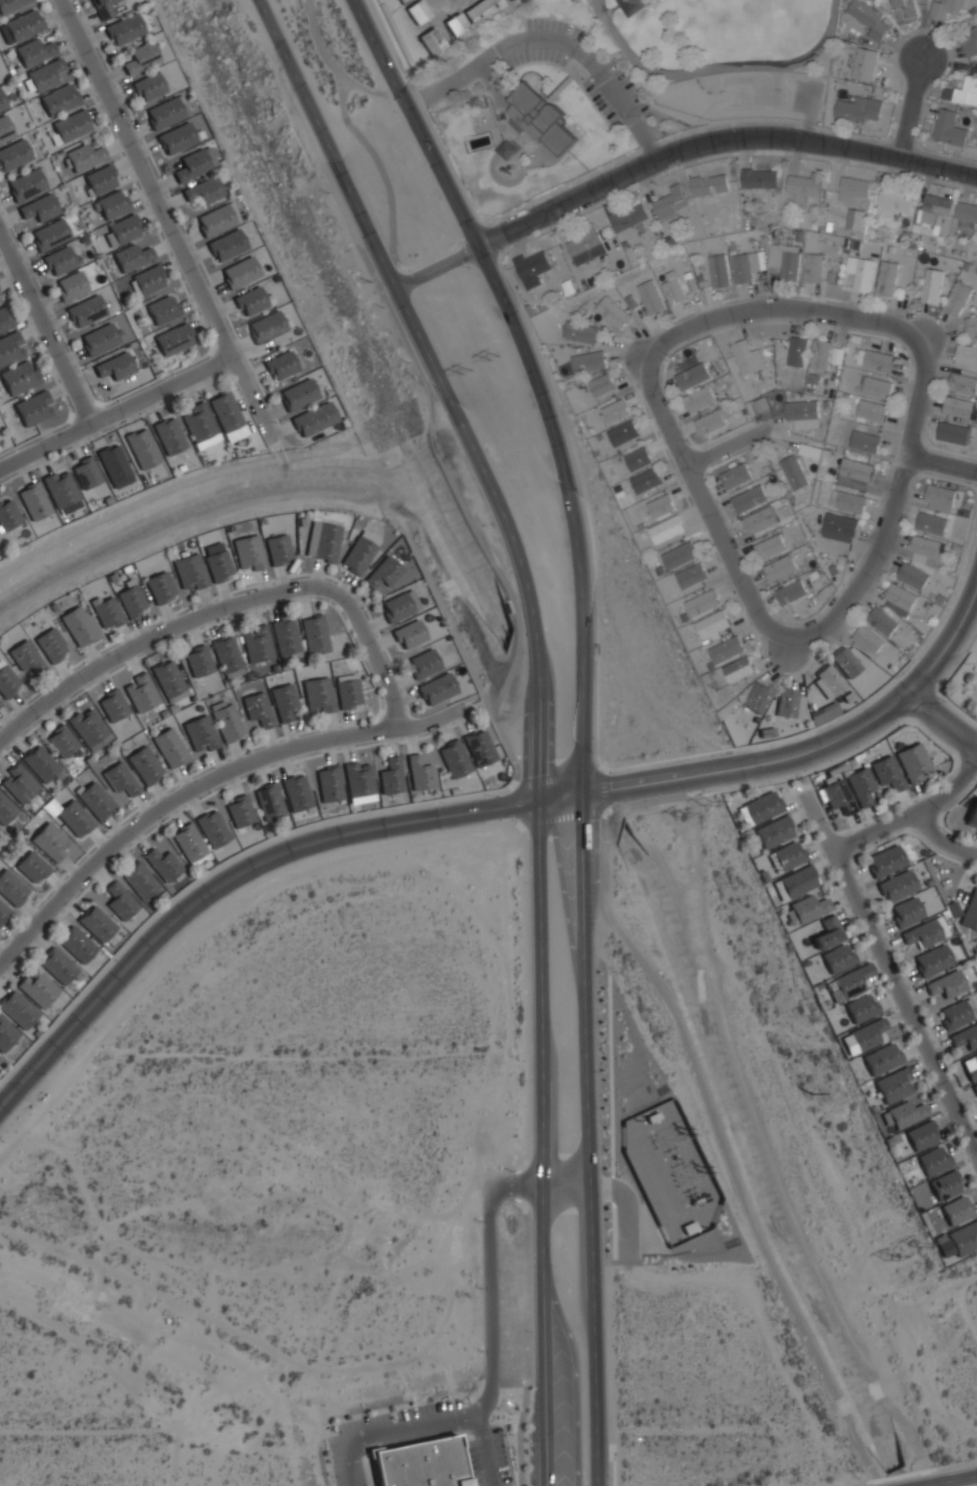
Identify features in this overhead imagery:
building: (509, 0)
building: (512, 0)
building: (405, 2)
building: (10, 5)
building: (632, 6)
building: (104, 7)
building: (947, 8)
building: (482, 11)
building: (905, 11)
building: (418, 12)
building: (869, 19)
building: (23, 24)
building: (457, 26)
park: (752, 26)
building: (123, 28)
building: (433, 42)
building: (971, 43)
building: (33, 51)
road: (579, 54)
building: (139, 57)
building: (864, 63)
road: (719, 67)
building: (44, 74)
parking lot: (608, 74)
road: (456, 81)
park: (619, 84)
building: (147, 86)
road: (443, 86)
building: (963, 91)
building: (58, 99)
parking lot: (811, 101)
building: (2, 103)
building: (859, 109)
road: (913, 110)
building: (166, 111)
road: (812, 112)
building: (541, 117)
building: (70, 125)
building: (5, 127)
building: (950, 128)
building: (175, 138)
road: (647, 140)
building: (506, 150)
building: (13, 154)
road: (673, 154)
building: (84, 157)
building: (191, 165)
building: (759, 178)
building: (99, 179)
building: (25, 184)
building: (710, 184)
building: (805, 186)
building: (853, 188)
building: (204, 190)
road: (391, 198)
building: (670, 203)
building: (111, 204)
building: (891, 206)
building: (39, 207)
building: (967, 213)
building: (931, 214)
building: (626, 215)
building: (855, 219)
road: (165, 220)
building: (215, 220)
building: (122, 230)
building: (49, 235)
building: (227, 245)
building: (586, 246)
building: (131, 256)
building: (59, 260)
building: (784, 260)
building: (532, 265)
road: (386, 266)
building: (744, 266)
building: (813, 267)
building: (719, 270)
building: (240, 272)
building: (860, 272)
building: (886, 277)
building: (148, 279)
building: (69, 285)
building: (931, 285)
building: (673, 289)
building: (651, 297)
building: (957, 298)
building: (252, 300)
building: (0, 301)
road: (777, 307)
building: (162, 308)
building: (85, 310)
building: (613, 312)
building: (5, 319)
building: (971, 323)
building: (266, 326)
road: (45, 329)
building: (581, 332)
road: (922, 337)
building: (98, 338)
building: (173, 338)
building: (10, 348)
building: (797, 351)
building: (820, 354)
building: (966, 354)
power tower: (494, 356)
building: (747, 357)
road: (641, 358)
building: (878, 360)
building: (588, 361)
building: (114, 365)
building: (281, 365)
power tower: (468, 373)
building: (693, 376)
building: (19, 378)
road: (536, 379)
building: (963, 383)
building: (602, 385)
building: (876, 387)
road: (444, 388)
building: (297, 394)
building: (700, 399)
building: (761, 404)
building: (958, 407)
building: (33, 408)
building: (871, 410)
road: (114, 411)
building: (616, 411)
building: (803, 414)
building: (227, 416)
building: (310, 420)
building: (711, 422)
building: (200, 426)
building: (954, 433)
building: (624, 435)
building: (169, 436)
building: (865, 441)
building: (142, 448)
road: (723, 448)
building: (638, 459)
building: (113, 463)
road: (940, 463)
building: (86, 473)
building: (794, 473)
building: (855, 473)
building: (736, 476)
building: (646, 480)
road: (183, 486)
building: (60, 489)
building: (941, 495)
building: (750, 498)
building: (34, 501)
building: (850, 502)
building: (661, 506)
road: (704, 506)
road: (890, 510)
building: (8, 514)
road: (464, 517)
building: (759, 520)
building: (932, 523)
building: (839, 527)
building: (666, 529)
building: (322, 541)
building: (770, 547)
building: (925, 548)
building: (278, 550)
building: (249, 552)
building: (359, 552)
building: (679, 555)
building: (218, 565)
building: (780, 567)
building: (190, 572)
building: (383, 573)
building: (690, 575)
building: (912, 576)
building: (160, 588)
building: (790, 592)
building: (900, 596)
building: (131, 600)
building: (701, 602)
building: (400, 606)
building: (507, 606)
building: (106, 612)
building: (882, 621)
building: (711, 622)
building: (78, 626)
building: (314, 634)
building: (409, 634)
building: (285, 636)
road: (147, 637)
building: (867, 640)
building: (257, 643)
building: (51, 645)
road: (785, 647)
building: (597, 648)
building: (724, 649)
road: (372, 650)
building: (226, 653)
building: (25, 656)
building: (198, 660)
building: (423, 663)
building: (845, 663)
building: (738, 669)
building: (168, 680)
building: (829, 681)
building: (8, 682)
building: (436, 688)
building: (140, 691)
building: (347, 691)
building: (318, 694)
building: (757, 697)
building: (283, 701)
building: (112, 704)
building: (789, 705)
building: (257, 708)
building: (226, 720)
road: (942, 720)
building: (87, 726)
building: (200, 732)
building: (60, 741)
building: (169, 748)
building: (479, 748)
road: (816, 748)
building: (454, 759)
building: (39, 763)
building: (913, 763)
building: (144, 764)
building: (419, 773)
building: (886, 774)
building: (391, 776)
road: (556, 776)
building: (119, 778)
building: (358, 779)
building: (18, 783)
building: (329, 784)
building: (859, 786)
road: (193, 788)
road: (602, 791)
building: (296, 792)
building: (836, 796)
road: (561, 797)
building: (95, 800)
building: (269, 802)
road: (516, 804)
power tower: (708, 805)
building: (762, 807)
building: (5, 809)
building: (240, 811)
road: (605, 813)
building: (972, 816)
building: (74, 818)
road: (562, 818)
power tower: (681, 818)
road: (909, 819)
road: (522, 823)
building: (212, 828)
building: (774, 832)
road: (943, 840)
building: (50, 841)
building: (189, 842)
building: (786, 856)
building: (884, 861)
road: (218, 863)
building: (163, 864)
building: (31, 867)
road: (228, 880)
building: (140, 881)
building: (797, 881)
building: (896, 886)
building: (11, 888)
building: (120, 901)
building: (808, 908)
building: (970, 911)
building: (3, 912)
building: (905, 912)
building: (97, 923)
building: (827, 932)
building: (921, 933)
building: (77, 944)
building: (837, 958)
building: (931, 960)
building: (59, 966)
road: (891, 982)
building: (848, 983)
building: (945, 984)
building: (38, 988)
building: (860, 1007)
building: (18, 1009)
building: (956, 1013)
building: (6, 1034)
building: (867, 1034)
building: (965, 1036)
building: (882, 1058)
building: (972, 1067)
building: (893, 1086)
building: (975, 1088)
building: (902, 1114)
building: (921, 1135)
road: (588, 1140)
road: (541, 1143)
road: (724, 1153)
building: (933, 1160)
power substation: (671, 1173)
building: (944, 1184)
road: (627, 1206)
building: (956, 1210)
building: (959, 1240)
power tower: (918, 1243)
road: (489, 1253)
power tower: (888, 1256)
road: (428, 1425)
road: (522, 1426)
road: (404, 1441)
street lamp: (508, 1447)
building: (373, 1449)
parking lot: (500, 1456)
building: (462, 1462)
building: (418, 1464)
parking lot: (474, 1466)
road: (486, 1474)
road: (476, 1476)
road: (949, 1480)
building: (460, 1482)
road: (488, 1482)
road: (478, 1484)

